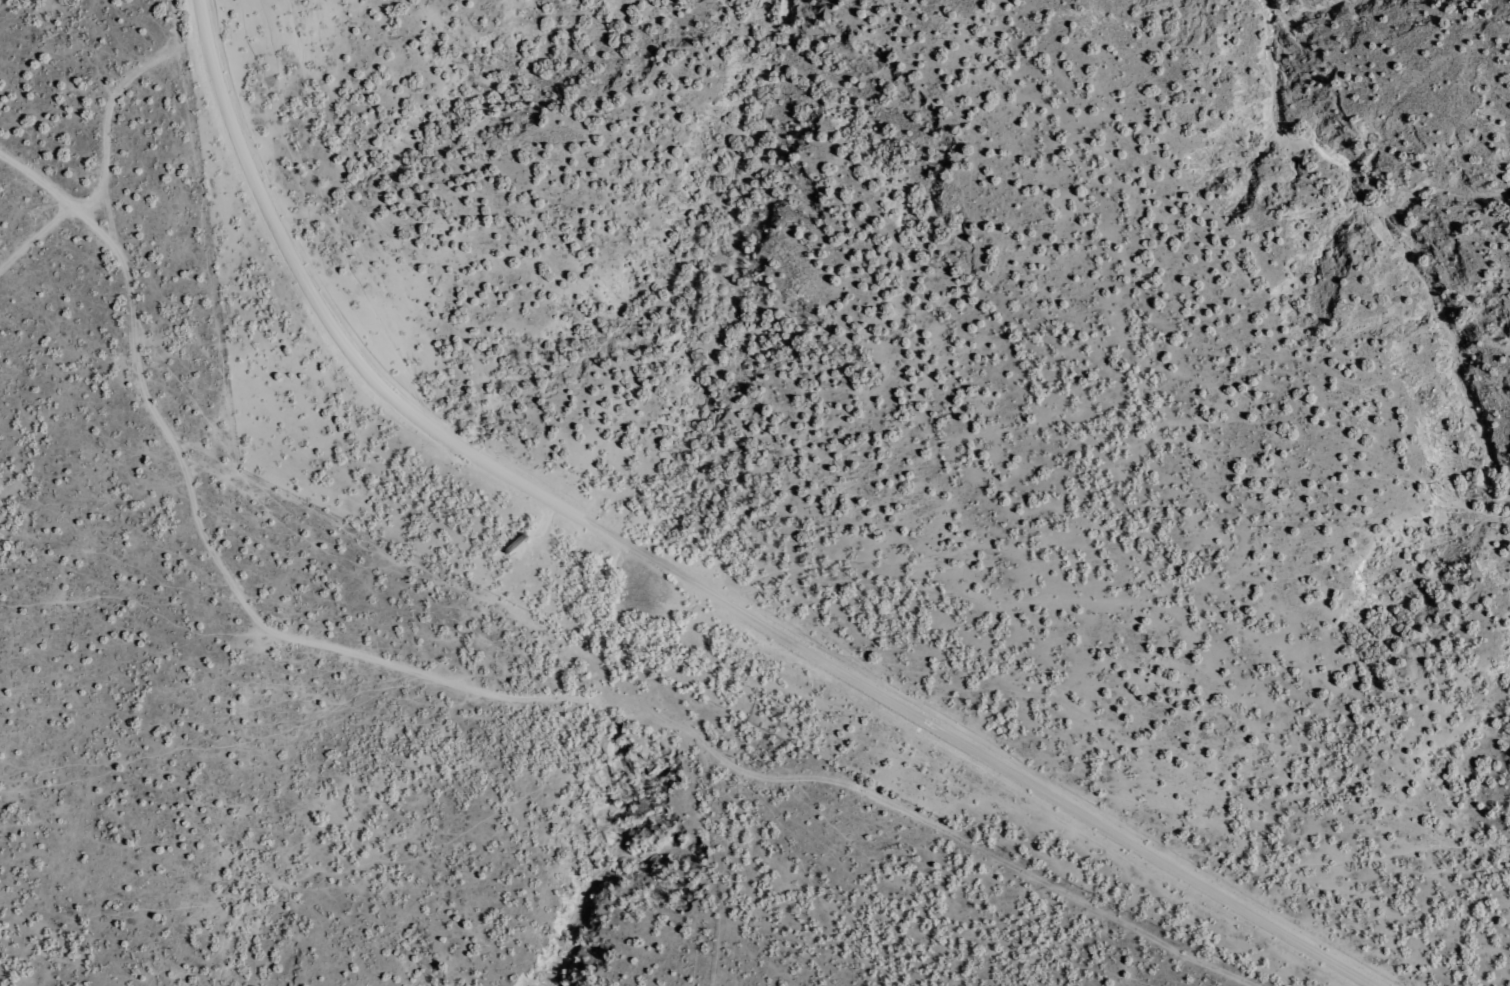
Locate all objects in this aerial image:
road: (303, 278)
road: (236, 372)
road: (935, 734)

